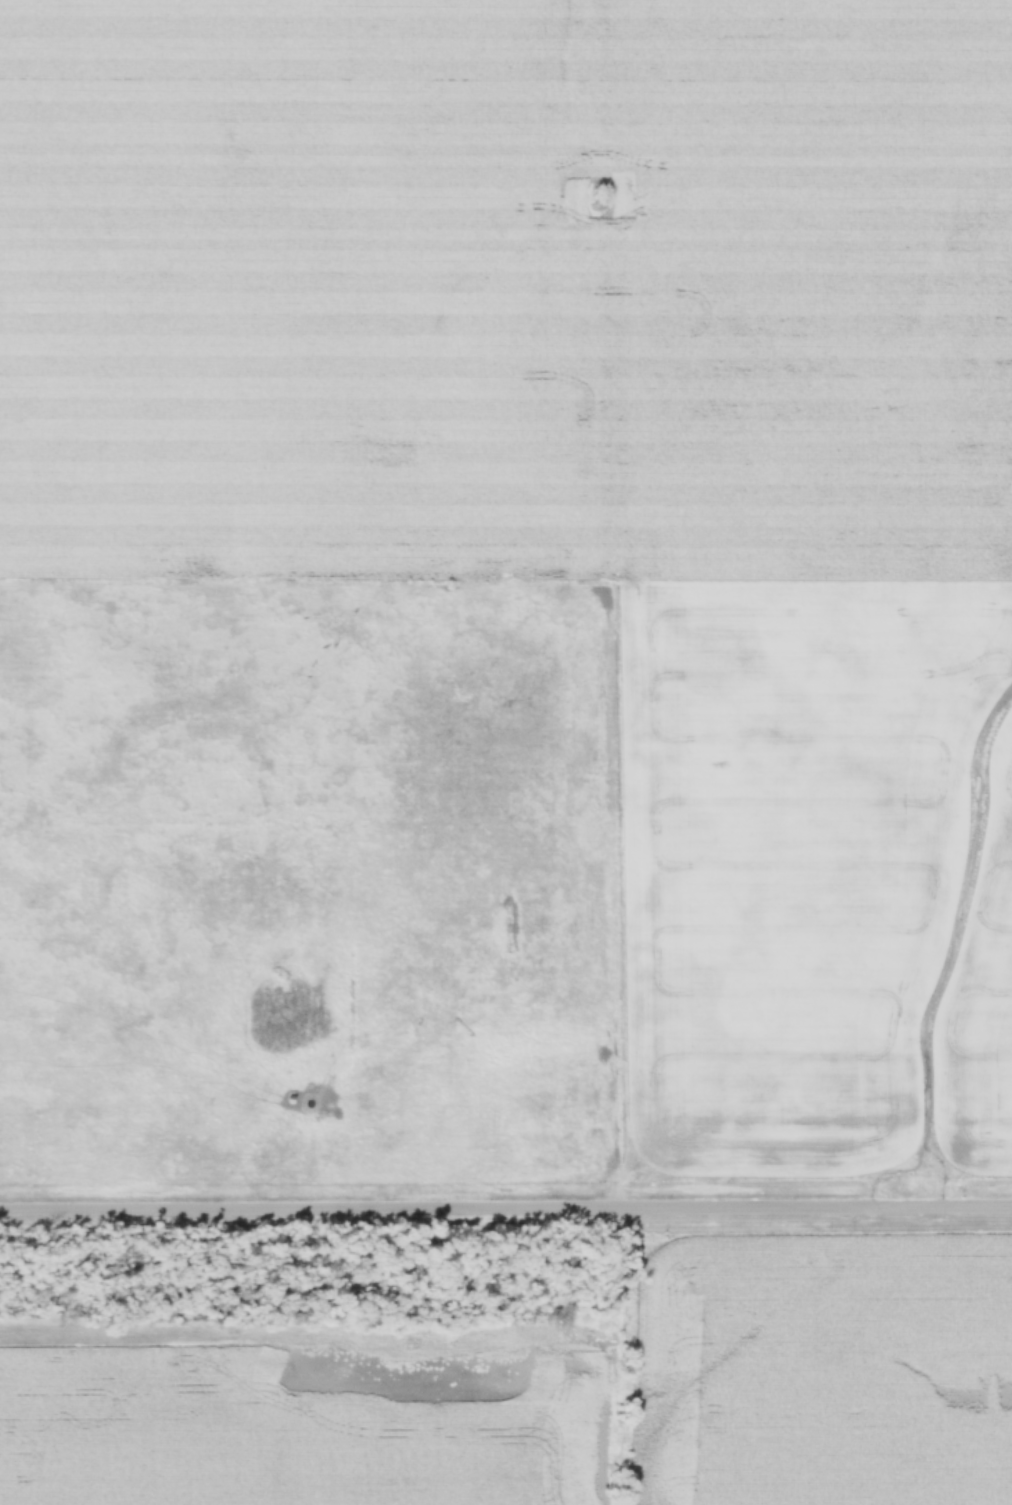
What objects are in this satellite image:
road: (505, 1206)

